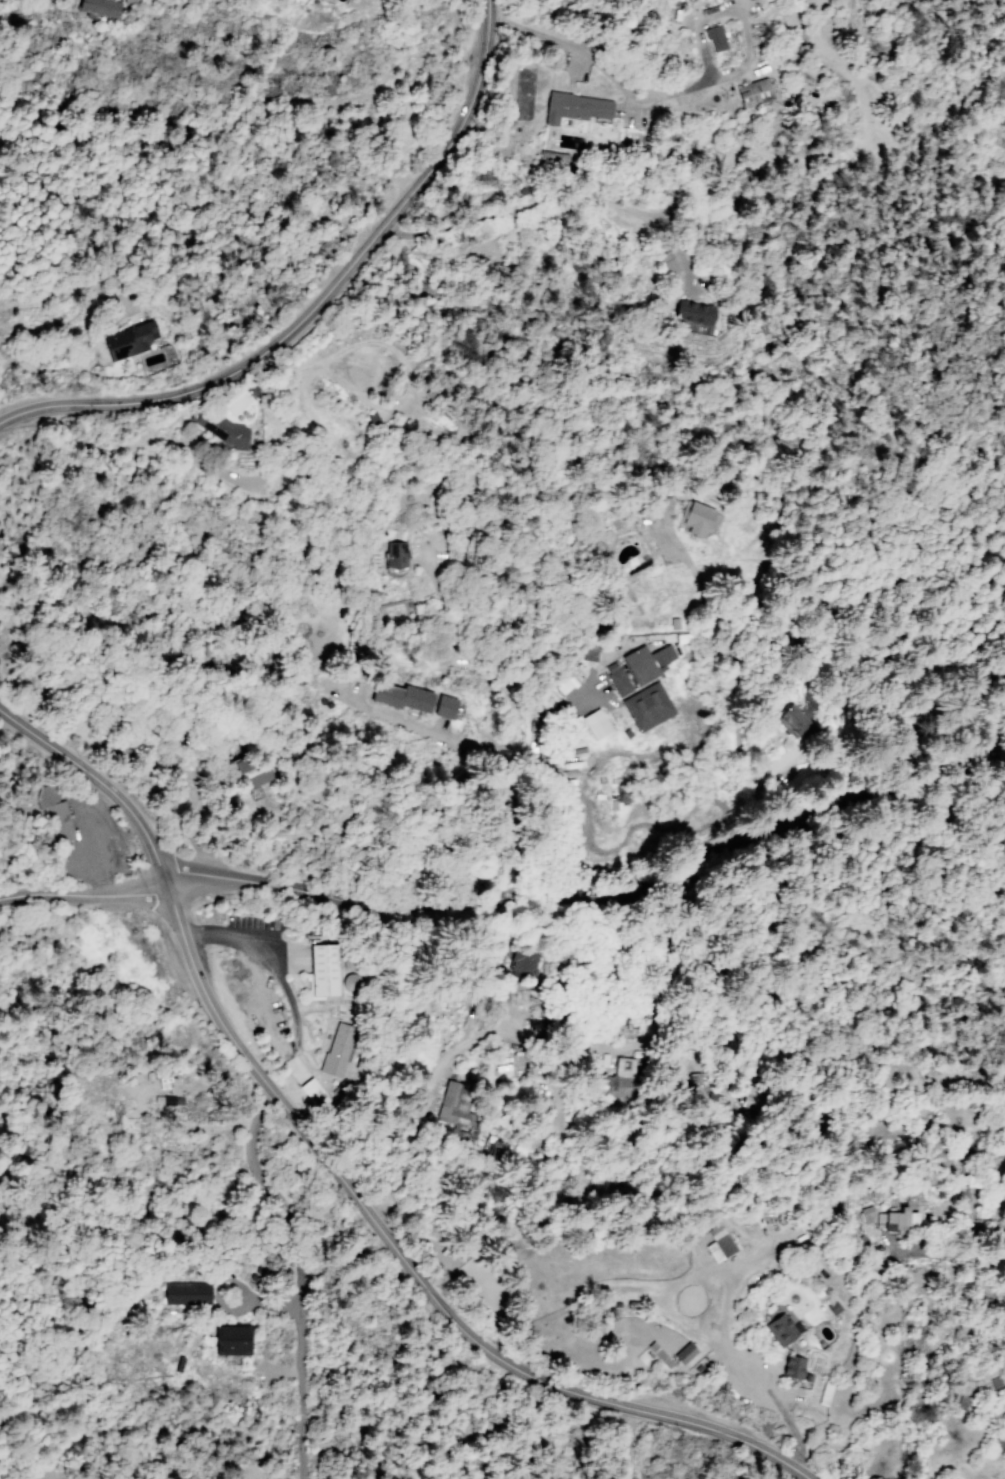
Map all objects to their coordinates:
building: (126, 0)
building: (106, 8)
road: (700, 32)
building: (712, 37)
road: (571, 65)
building: (746, 92)
road: (637, 104)
building: (570, 105)
building: (662, 265)
road: (318, 299)
building: (683, 312)
road: (76, 337)
building: (132, 341)
building: (226, 429)
road: (171, 446)
building: (662, 506)
building: (703, 519)
building: (400, 555)
building: (586, 655)
building: (650, 661)
building: (563, 687)
building: (421, 700)
building: (643, 700)
building: (594, 725)
road: (442, 737)
building: (260, 766)
road: (560, 776)
road: (97, 781)
building: (245, 781)
road: (513, 784)
building: (55, 816)
road: (88, 854)
road: (598, 893)
road: (83, 895)
building: (329, 971)
building: (355, 981)
storage tank: (355, 981)
road: (294, 1029)
building: (336, 1047)
building: (611, 1077)
building: (314, 1092)
building: (180, 1100)
building: (454, 1105)
road: (418, 1106)
road: (178, 1123)
building: (863, 1216)
building: (905, 1221)
building: (716, 1244)
road: (958, 1252)
road: (409, 1267)
water tower: (257, 1269)
water tower: (251, 1277)
road: (295, 1279)
building: (186, 1295)
road: (227, 1305)
building: (784, 1331)
building: (232, 1341)
road: (728, 1345)
building: (682, 1355)
building: (660, 1360)
building: (796, 1367)
road: (628, 1443)
building: (1000, 1443)

